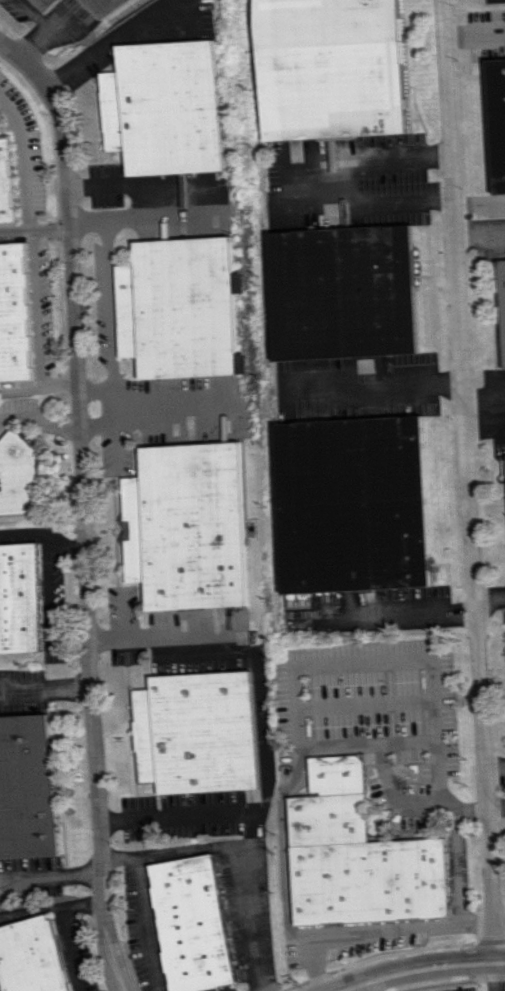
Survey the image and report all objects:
building: (44, 4)
building: (110, 9)
railway: (123, 11)
road: (34, 13)
road: (474, 31)
road: (32, 43)
road: (113, 43)
building: (330, 68)
building: (161, 108)
building: (499, 120)
road: (19, 159)
building: (4, 182)
road: (345, 186)
road: (152, 213)
road: (91, 223)
road: (32, 226)
building: (503, 287)
railway: (264, 290)
building: (342, 292)
road: (107, 302)
road: (30, 307)
building: (176, 308)
building: (12, 313)
road: (375, 385)
road: (36, 387)
road: (99, 391)
road: (484, 397)
road: (169, 404)
road: (4, 410)
road: (4, 416)
road: (41, 419)
road: (485, 425)
building: (16, 475)
road: (468, 481)
road: (78, 504)
building: (354, 504)
building: (187, 526)
road: (26, 532)
road: (61, 544)
road: (47, 596)
road: (490, 598)
building: (18, 599)
road: (391, 617)
road: (68, 642)
road: (359, 662)
road: (44, 691)
road: (259, 727)
building: (197, 732)
road: (494, 766)
building: (26, 787)
road: (395, 792)
road: (496, 806)
road: (282, 822)
road: (180, 854)
building: (358, 855)
road: (118, 858)
road: (460, 864)
road: (49, 877)
road: (30, 910)
road: (244, 915)
road: (499, 918)
building: (191, 923)
road: (143, 925)
road: (63, 931)
building: (30, 956)
road: (315, 964)
road: (424, 973)
road: (496, 976)
road: (117, 986)
road: (120, 986)
road: (366, 987)
road: (260, 990)

